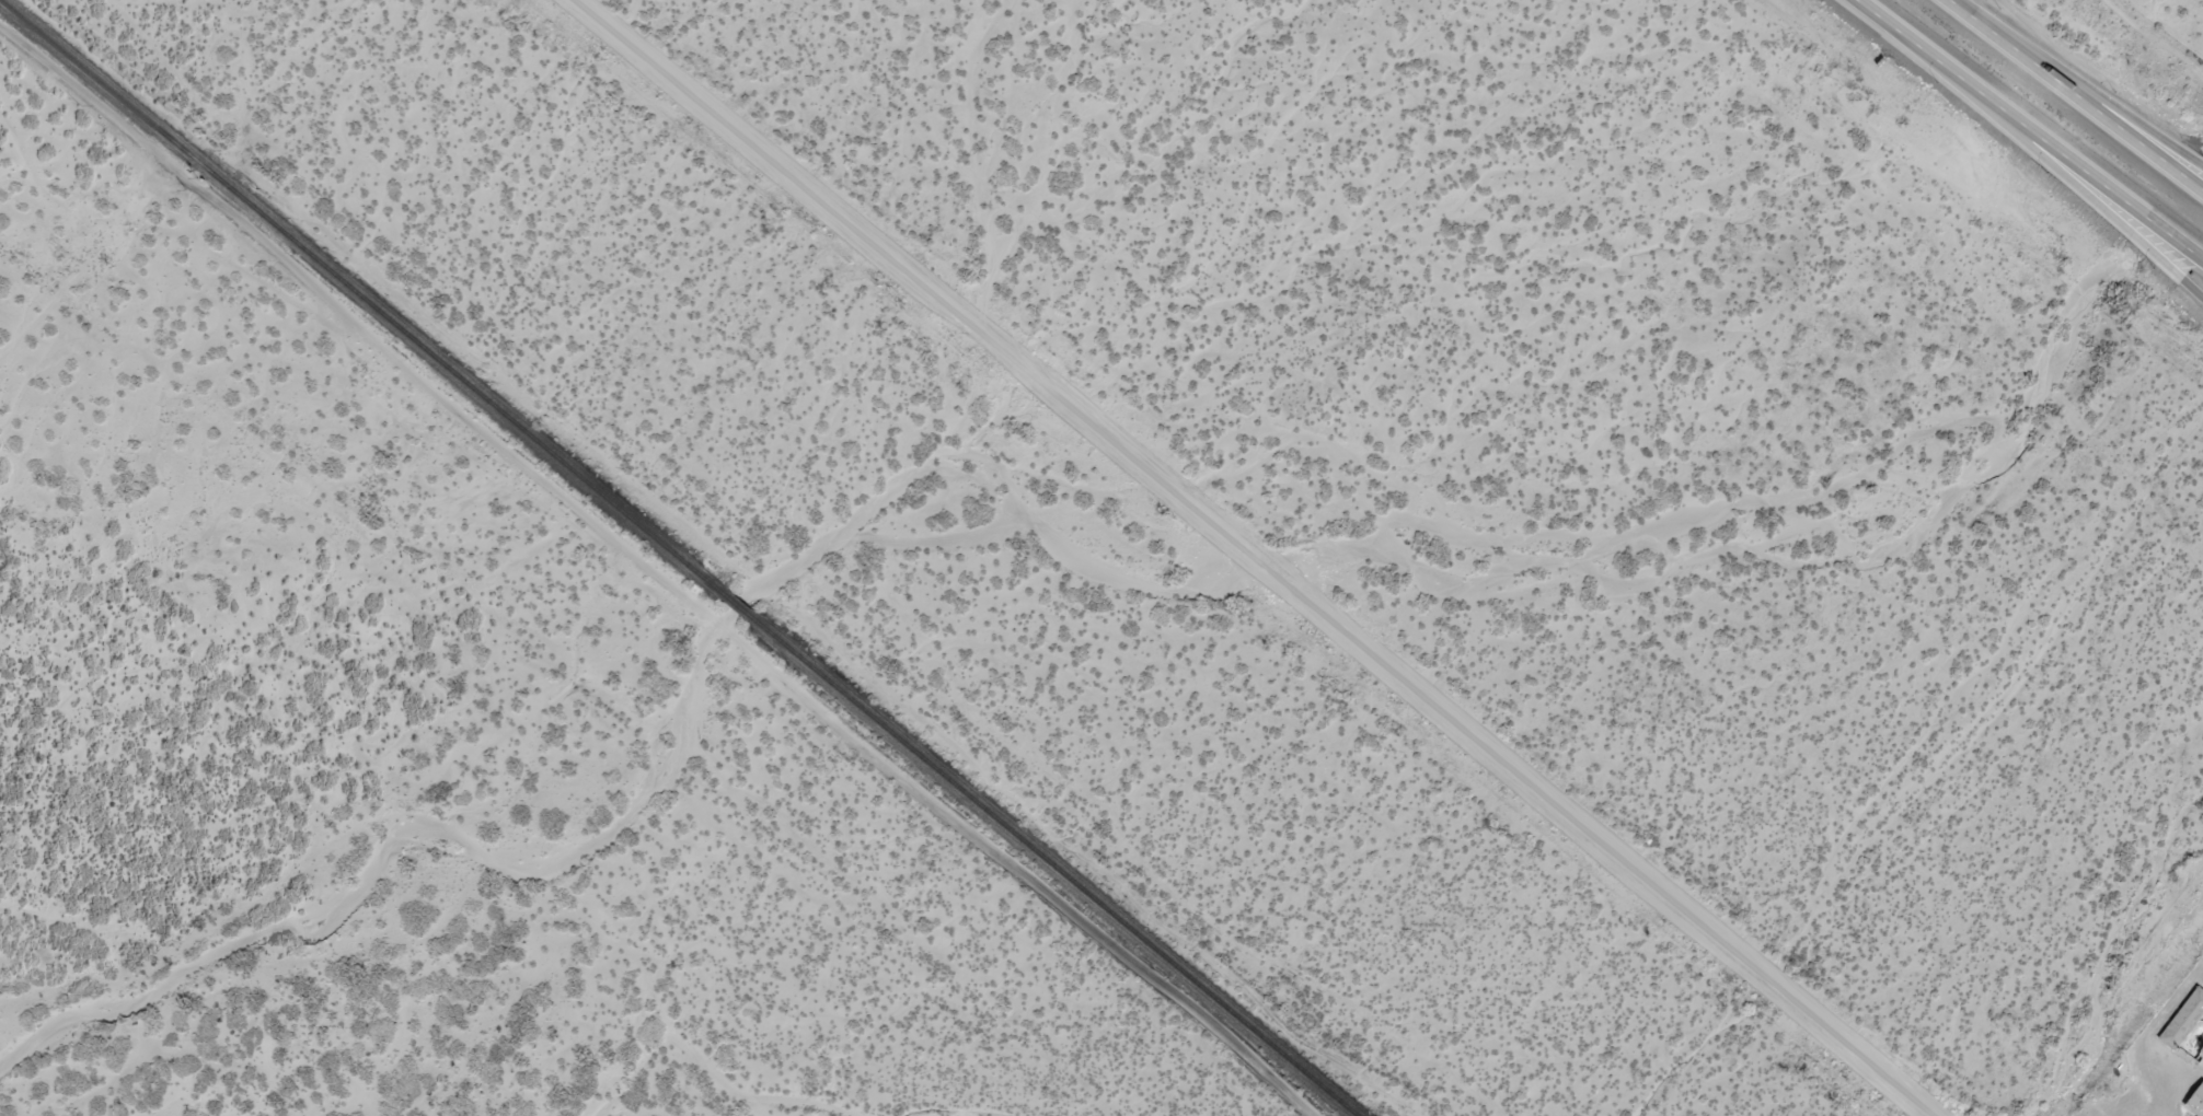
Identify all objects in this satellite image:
road: (2076, 83)
road: (2074, 96)
road: (2027, 132)
road: (2087, 196)
road: (1253, 550)
railway: (678, 559)
road: (656, 576)
railway: (557, 682)
building: (2178, 1026)
building: (2199, 1058)
building: (2193, 1105)

